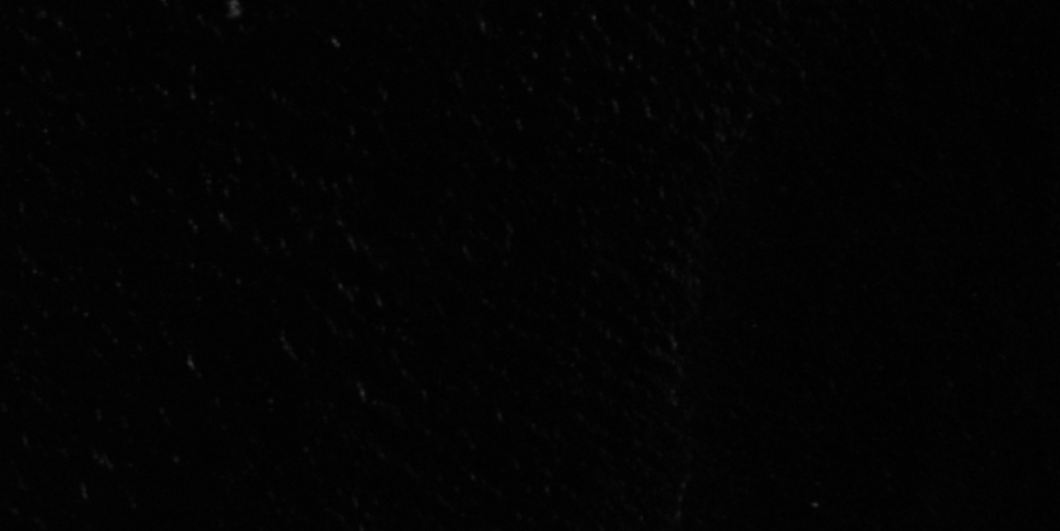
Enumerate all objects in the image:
river: (346, 268)

